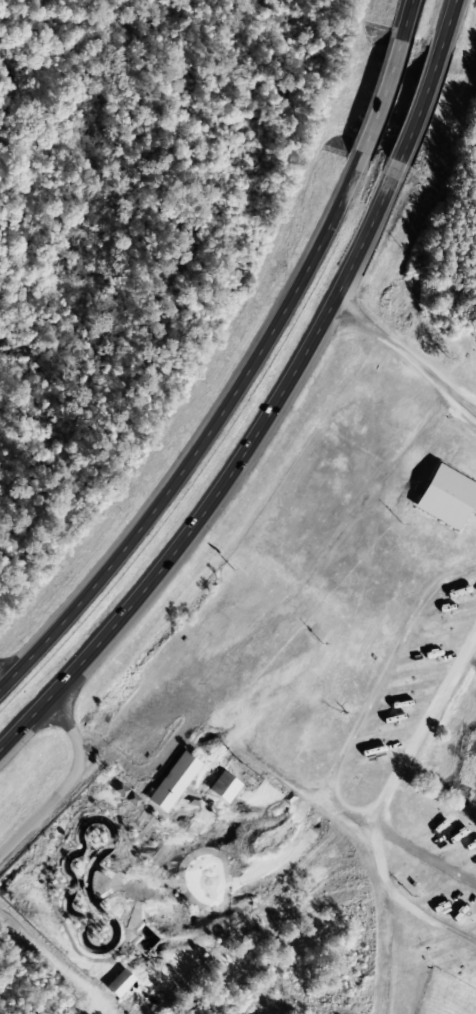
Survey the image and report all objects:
road: (406, 18)
road: (444, 25)
road: (380, 99)
road: (416, 113)
road: (399, 383)
road: (201, 440)
road: (228, 484)
building: (445, 498)
road: (2, 680)
road: (359, 778)
building: (172, 782)
road: (67, 785)
building: (223, 788)
road: (371, 953)
building: (119, 984)
road: (423, 995)

